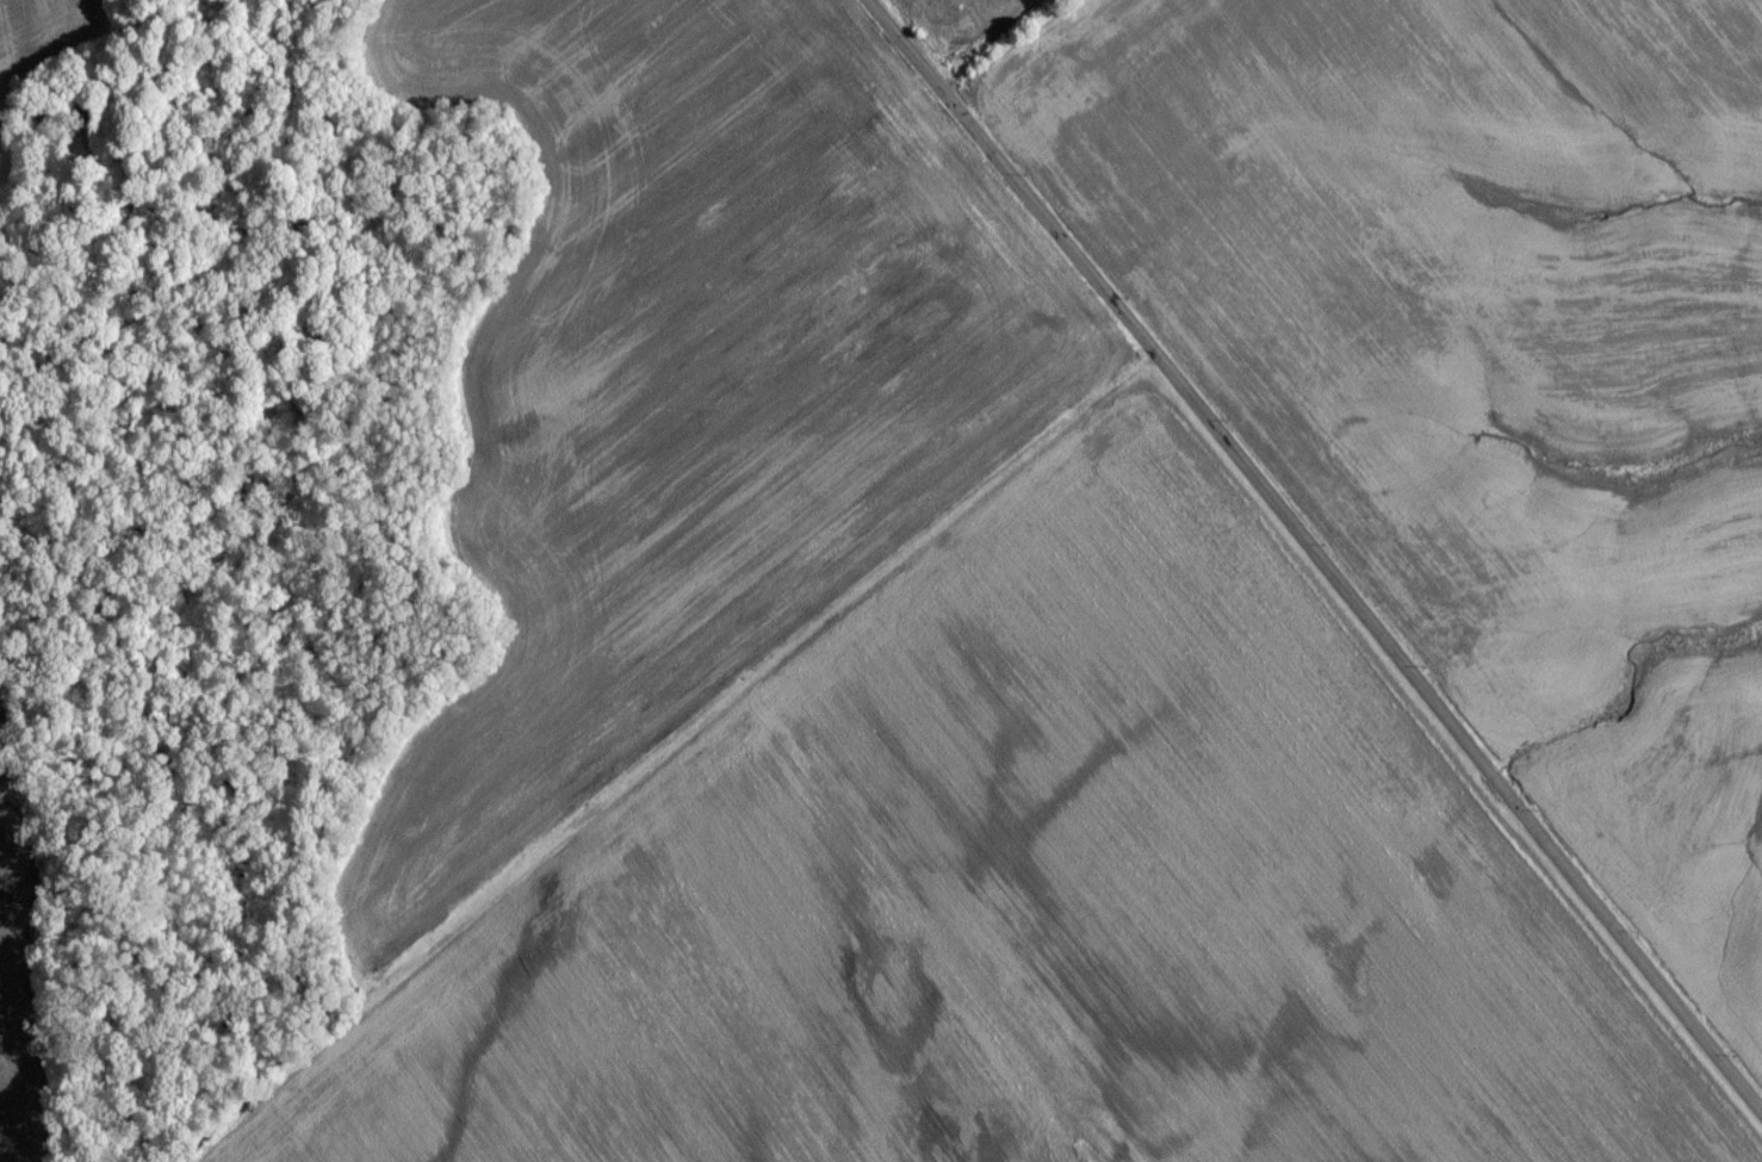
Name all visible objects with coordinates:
road: (1311, 552)

